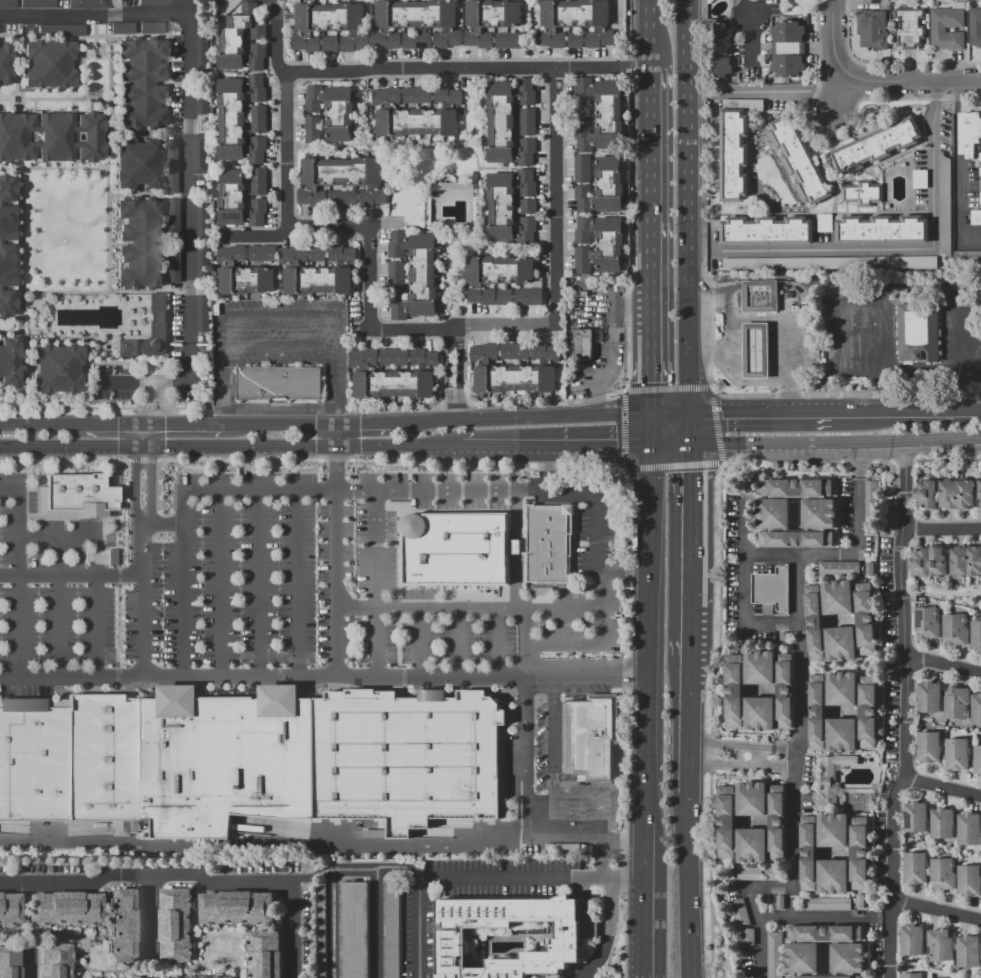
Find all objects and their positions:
building: (165, 2)
building: (86, 3)
building: (7, 4)
building: (37, 4)
building: (489, 19)
building: (416, 21)
building: (574, 22)
building: (873, 24)
building: (330, 25)
building: (150, 27)
building: (121, 28)
building: (909, 28)
building: (946, 28)
building: (975, 28)
building: (60, 30)
road: (754, 32)
road: (648, 35)
building: (509, 40)
building: (241, 41)
building: (416, 41)
building: (575, 41)
building: (329, 43)
road: (95, 44)
road: (835, 45)
building: (788, 48)
building: (723, 50)
building: (201, 57)
building: (5, 63)
building: (48, 64)
road: (16, 65)
road: (601, 70)
road: (381, 71)
building: (141, 83)
road: (910, 87)
road: (781, 91)
building: (416, 95)
road: (95, 97)
road: (21, 98)
road: (5, 99)
building: (202, 102)
building: (333, 110)
building: (416, 114)
building: (581, 115)
building: (599, 115)
building: (238, 119)
building: (258, 119)
road: (187, 121)
building: (508, 121)
building: (527, 121)
building: (312, 129)
road: (72, 132)
building: (968, 132)
road: (34, 133)
road: (136, 133)
road: (108, 135)
building: (50, 137)
building: (876, 145)
building: (735, 147)
road: (164, 151)
building: (200, 153)
road: (285, 153)
building: (980, 157)
building: (799, 158)
building: (138, 162)
road: (10, 168)
building: (172, 169)
building: (582, 169)
building: (980, 172)
building: (341, 179)
building: (258, 181)
building: (923, 181)
building: (602, 188)
building: (862, 192)
road: (136, 194)
road: (633, 195)
road: (554, 196)
building: (342, 198)
building: (238, 200)
building: (980, 200)
road: (648, 202)
building: (509, 206)
building: (527, 206)
road: (686, 206)
building: (944, 206)
road: (959, 212)
building: (174, 216)
building: (975, 217)
building: (202, 220)
building: (825, 223)
road: (20, 229)
road: (314, 229)
building: (767, 231)
building: (885, 231)
road: (10, 241)
building: (602, 241)
building: (139, 243)
building: (6, 246)
road: (904, 251)
building: (262, 253)
building: (317, 253)
building: (967, 256)
building: (583, 260)
building: (202, 262)
building: (830, 263)
building: (174, 264)
building: (317, 271)
building: (242, 274)
building: (396, 275)
building: (415, 275)
building: (495, 275)
road: (369, 276)
road: (916, 282)
building: (759, 285)
road: (759, 286)
road: (10, 288)
road: (734, 292)
building: (528, 296)
building: (504, 297)
building: (759, 301)
road: (803, 303)
road: (20, 312)
building: (202, 313)
road: (283, 319)
road: (728, 319)
road: (461, 326)
building: (148, 332)
building: (917, 333)
road: (735, 337)
road: (755, 337)
road: (775, 337)
road: (783, 337)
road: (608, 343)
road: (283, 345)
building: (582, 345)
building: (755, 350)
gas station: (755, 350)
building: (514, 351)
road: (701, 355)
parking lot: (185, 357)
building: (393, 357)
building: (150, 360)
building: (9, 361)
road: (24, 361)
road: (755, 367)
road: (775, 367)
road: (139, 368)
road: (166, 368)
building: (56, 369)
building: (513, 370)
road: (921, 372)
road: (649, 373)
road: (454, 374)
road: (228, 375)
building: (392, 375)
road: (338, 376)
road: (167, 380)
parking lot: (113, 381)
road: (139, 381)
road: (125, 382)
building: (279, 383)
road: (711, 387)
road: (666, 389)
road: (622, 390)
road: (146, 405)
road: (453, 405)
road: (512, 405)
road: (163, 406)
road: (219, 406)
road: (283, 406)
road: (78, 407)
road: (179, 407)
road: (344, 409)
road: (426, 409)
road: (979, 409)
road: (914, 410)
road: (153, 411)
road: (769, 411)
road: (668, 412)
traffic signals: (688, 412)
traffic signals: (649, 413)
road: (226, 416)
road: (338, 417)
road: (521, 417)
road: (366, 425)
road: (716, 425)
road: (39, 427)
road: (108, 427)
road: (144, 427)
road: (164, 427)
road: (201, 427)
road: (281, 427)
road: (624, 429)
road: (689, 429)
road: (649, 430)
road: (112, 435)
road: (183, 435)
road: (338, 437)
road: (835, 443)
road: (382, 447)
road: (598, 447)
traffic signals: (649, 447)
road: (669, 447)
traffic signals: (690, 447)
road: (240, 448)
road: (444, 448)
road: (505, 448)
road: (71, 449)
road: (143, 455)
road: (238, 459)
road: (334, 459)
road: (64, 460)
road: (142, 460)
road: (672, 465)
road: (483, 466)
road: (622, 471)
building: (748, 485)
road: (133, 487)
road: (151, 488)
road: (429, 489)
building: (980, 489)
road: (9, 490)
building: (926, 494)
building: (956, 494)
building: (82, 495)
building: (871, 500)
road: (118, 513)
building: (773, 514)
road: (74, 517)
road: (162, 524)
road: (690, 526)
road: (942, 527)
road: (619, 537)
road: (593, 542)
building: (549, 543)
road: (572, 543)
building: (454, 547)
road: (516, 548)
road: (857, 556)
road: (336, 561)
building: (966, 561)
building: (928, 562)
road: (624, 565)
parking lot: (585, 566)
road: (95, 568)
building: (870, 568)
building: (839, 569)
road: (622, 571)
road: (71, 575)
road: (118, 575)
parking lot: (239, 579)
road: (18, 582)
road: (258, 582)
road: (298, 582)
road: (375, 582)
road: (221, 583)
road: (744, 586)
building: (772, 590)
road: (941, 593)
road: (143, 596)
road: (182, 600)
road: (719, 600)
road: (558, 606)
road: (462, 607)
building: (817, 622)
building: (926, 623)
road: (56, 625)
road: (118, 625)
building: (954, 630)
road: (689, 632)
road: (645, 634)
building: (976, 635)
building: (784, 639)
road: (419, 641)
road: (458, 641)
road: (498, 642)
road: (582, 642)
road: (943, 664)
road: (623, 673)
road: (322, 676)
road: (116, 677)
building: (735, 691)
building: (929, 697)
building: (956, 702)
building: (976, 709)
building: (867, 711)
road: (904, 711)
road: (688, 725)
road: (798, 737)
building: (594, 738)
road: (723, 745)
building: (928, 747)
road: (777, 748)
road: (710, 753)
road: (736, 754)
building: (956, 754)
road: (759, 755)
road: (524, 756)
road: (553, 756)
building: (251, 758)
building: (977, 760)
road: (723, 762)
road: (776, 765)
building: (832, 777)
parking lot: (552, 787)
road: (941, 789)
road: (598, 793)
building: (915, 817)
building: (728, 822)
building: (942, 823)
building: (969, 828)
road: (621, 833)
road: (321, 843)
road: (641, 844)
building: (811, 853)
road: (401, 864)
building: (915, 868)
building: (749, 873)
building: (773, 873)
road: (190, 874)
road: (640, 874)
road: (708, 874)
road: (352, 875)
building: (942, 875)
road: (307, 876)
road: (605, 876)
building: (968, 880)
road: (519, 881)
road: (686, 884)
road: (757, 886)
building: (860, 901)
building: (780, 902)
building: (827, 904)
building: (7, 907)
building: (63, 908)
building: (237, 908)
road: (936, 908)
building: (740, 913)
road: (154, 918)
road: (784, 918)
building: (176, 925)
building: (125, 926)
building: (320, 930)
building: (354, 930)
building: (390, 930)
road: (640, 930)
building: (452, 934)
building: (747, 937)
building: (912, 939)
building: (941, 944)
building: (980, 945)
building: (847, 949)
building: (968, 951)
building: (266, 954)
building: (773, 955)
road: (27, 961)
building: (53, 961)
building: (8, 962)
building: (912, 975)
building: (224, 976)
building: (176, 977)

